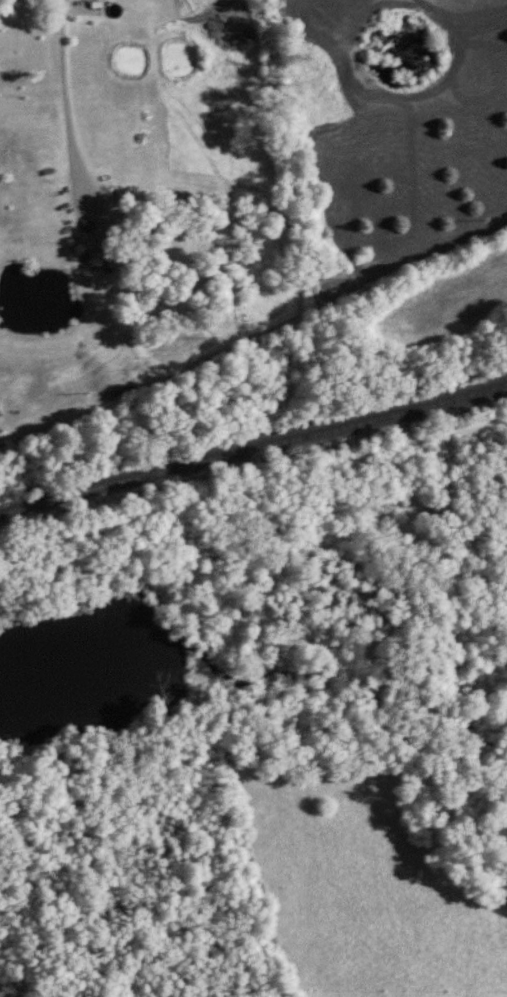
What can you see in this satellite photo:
road: (66, 105)
building: (145, 246)
building: (96, 258)
railway: (253, 449)

